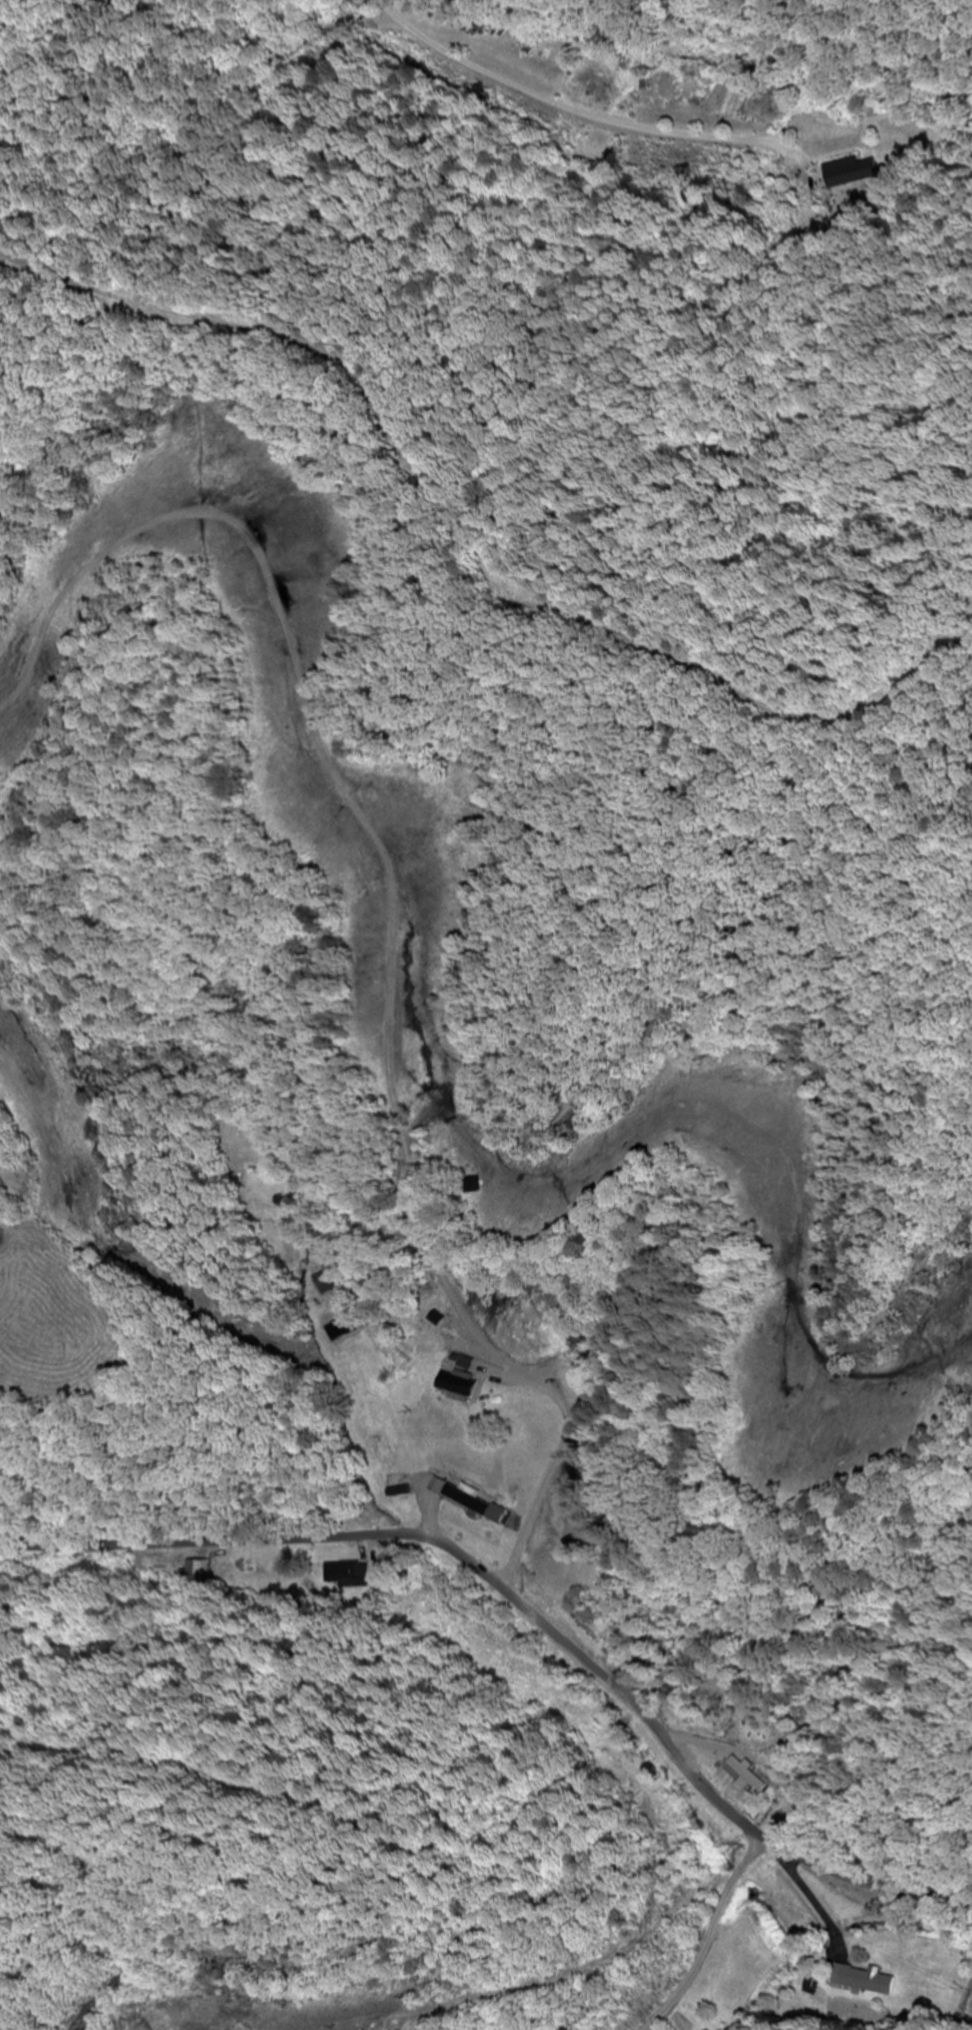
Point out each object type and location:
road: (389, 9)
building: (859, 172)
building: (462, 1497)
building: (205, 1571)
road: (524, 1610)
building: (746, 1774)
road: (727, 1939)
road: (781, 1958)
building: (866, 1981)

